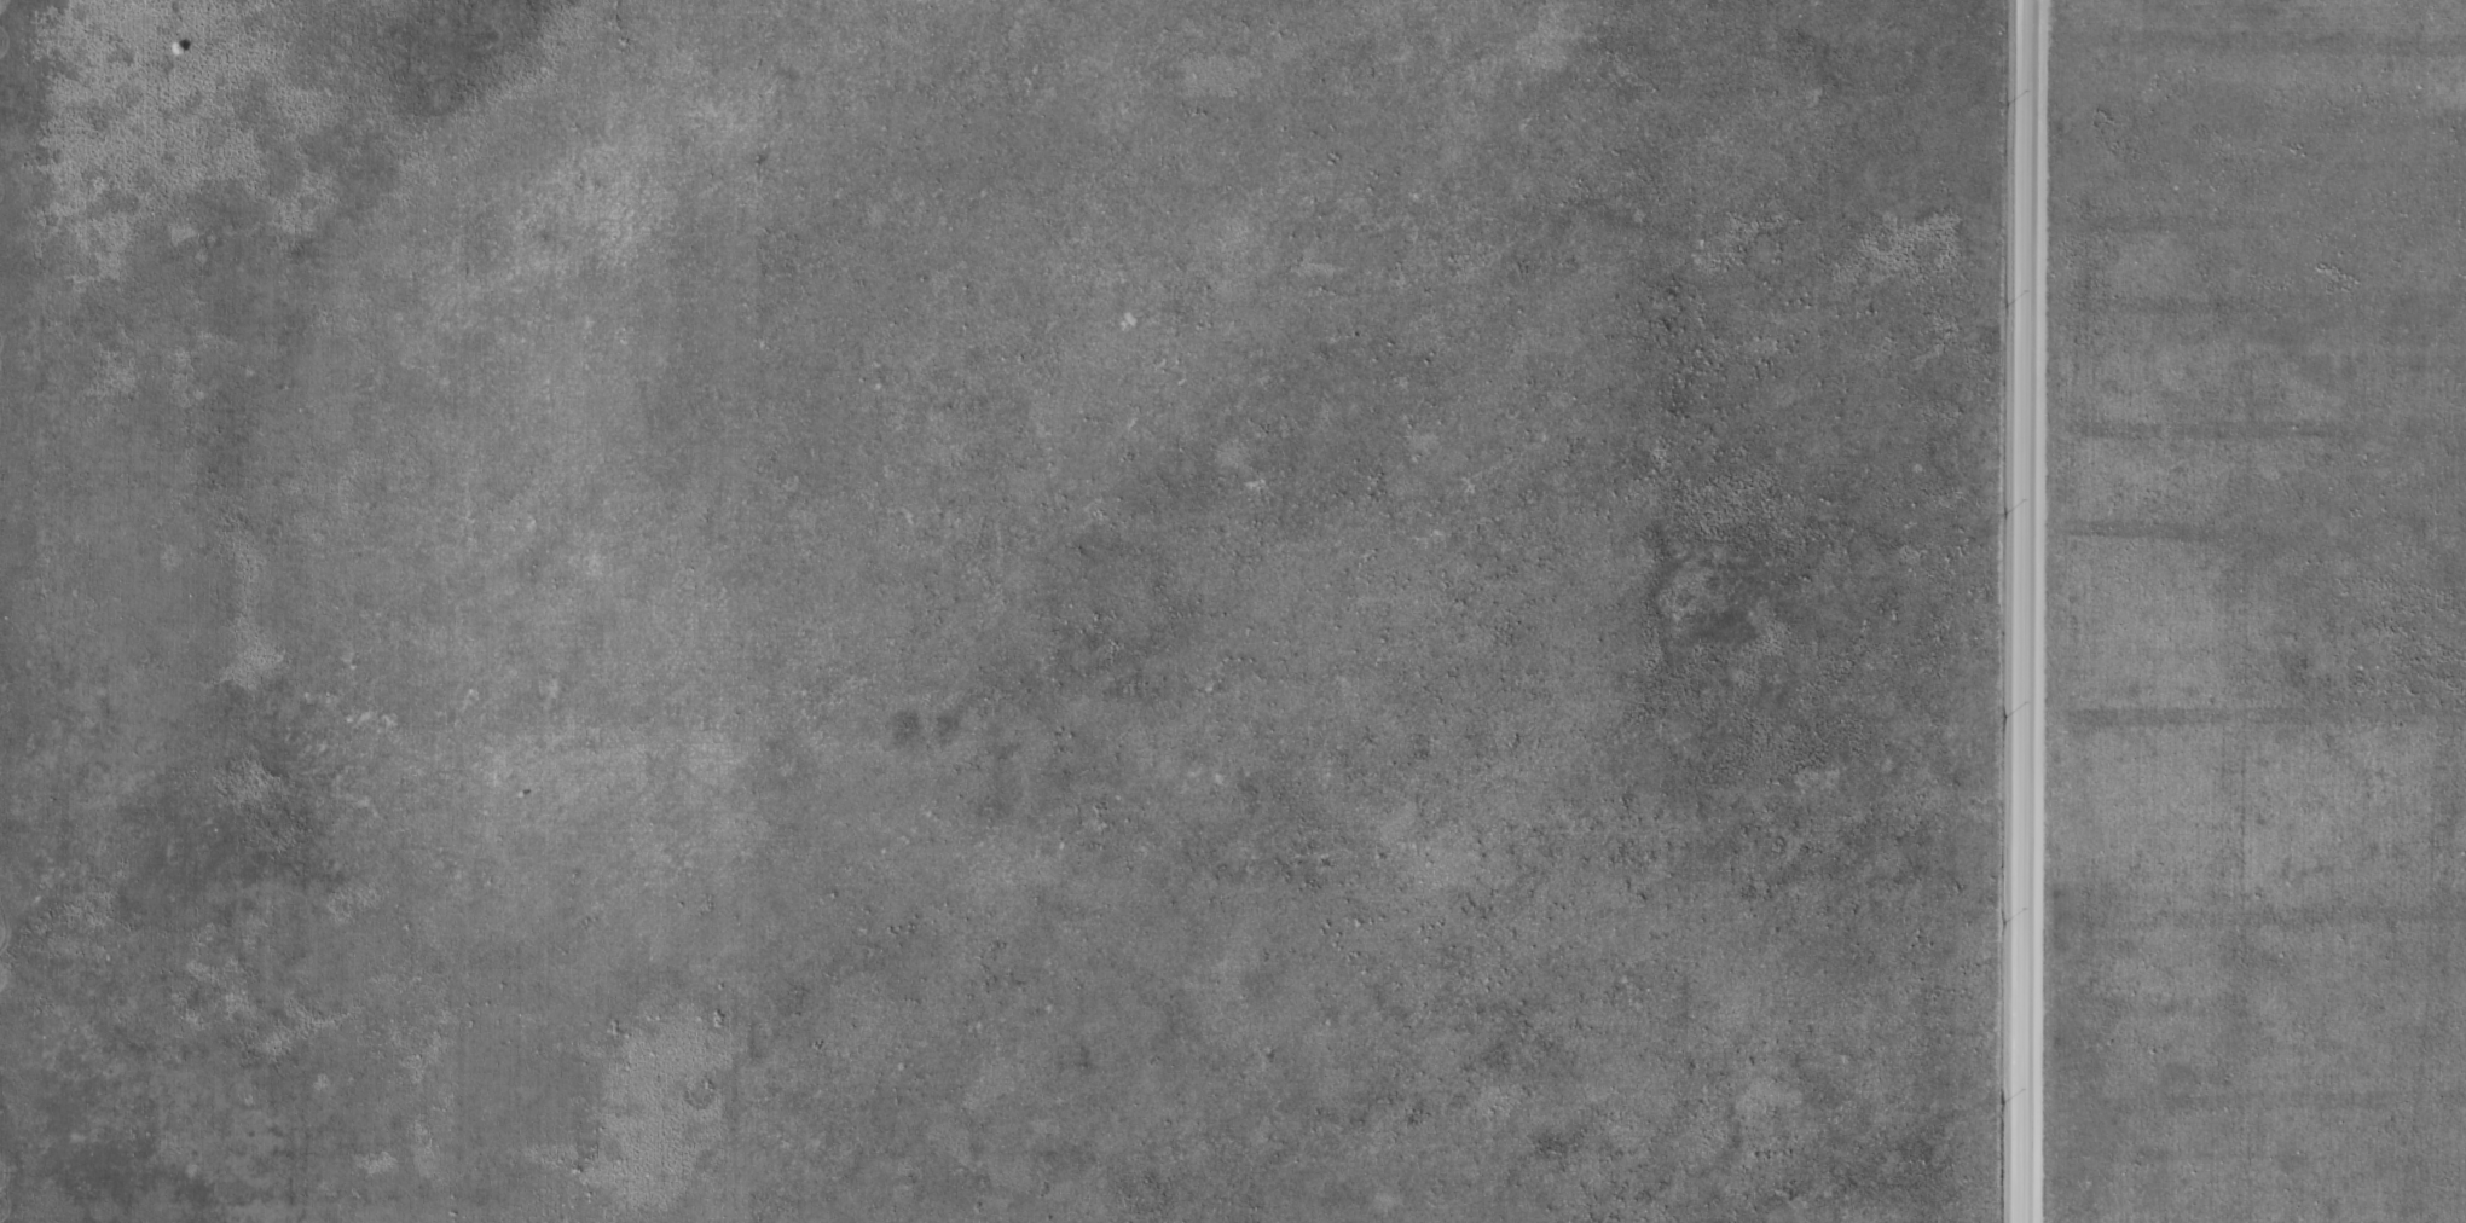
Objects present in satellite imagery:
road: (2264, 116)
road: (2061, 610)

